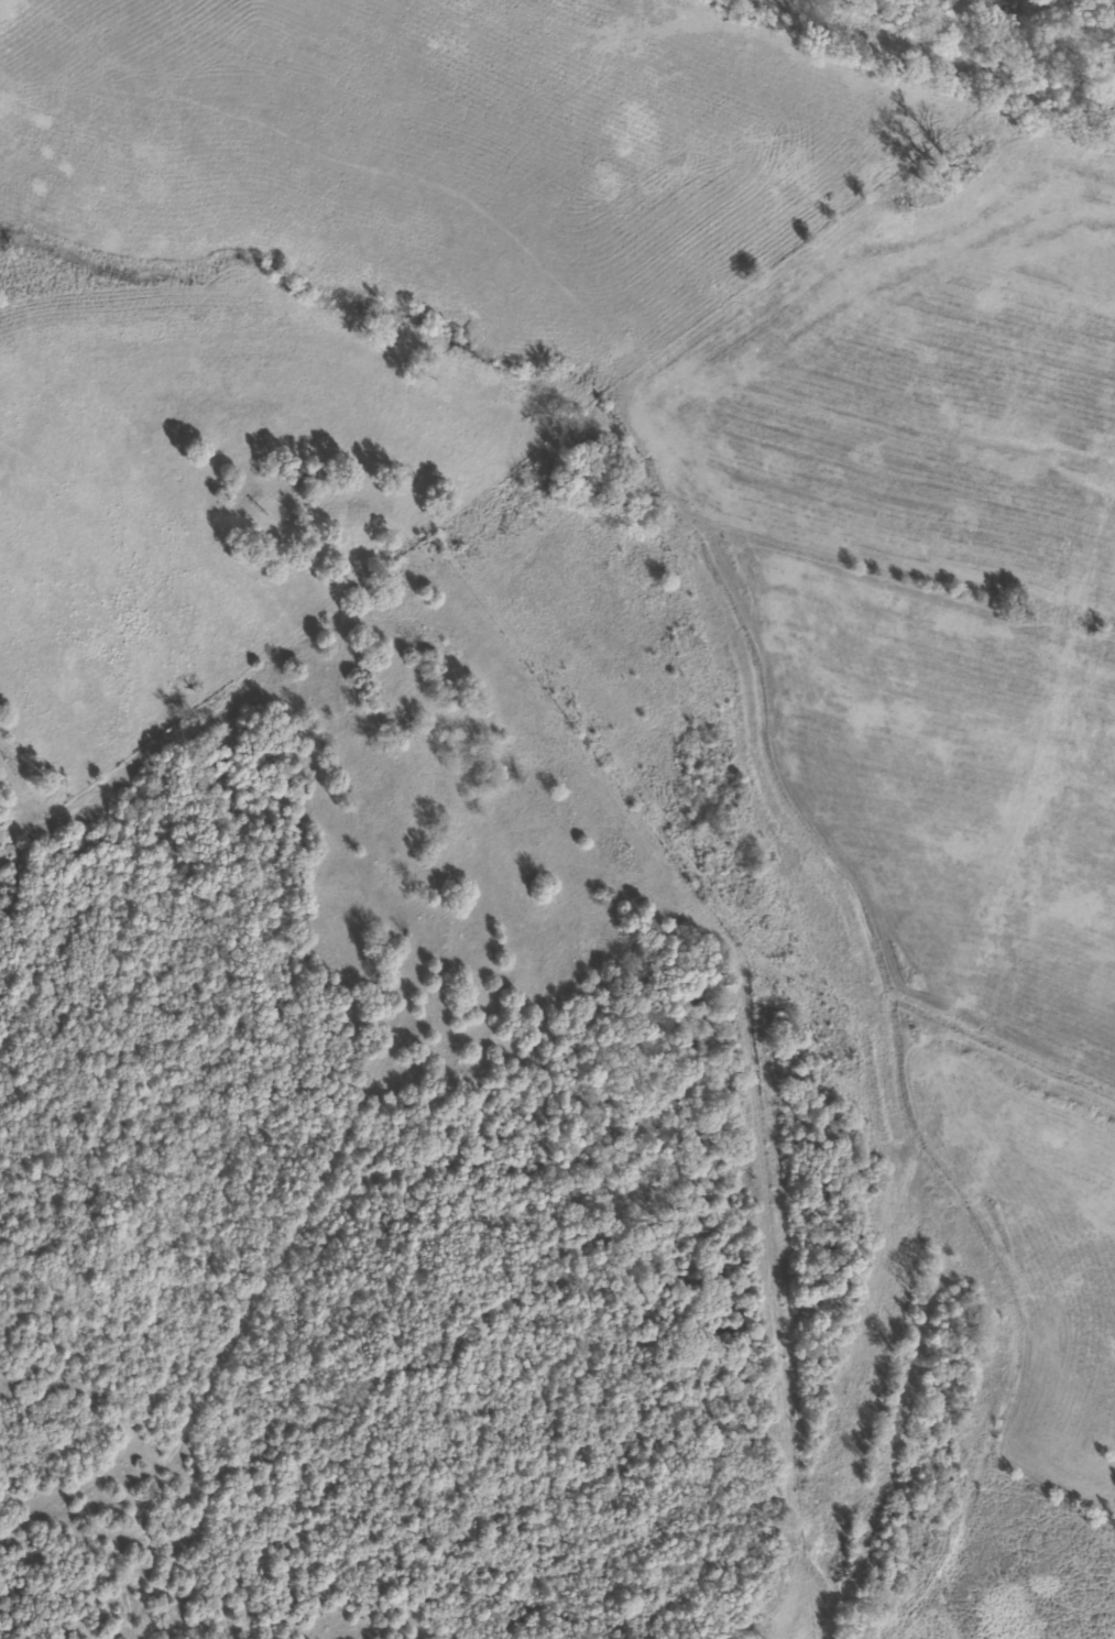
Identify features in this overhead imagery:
railway: (1014, 43)

